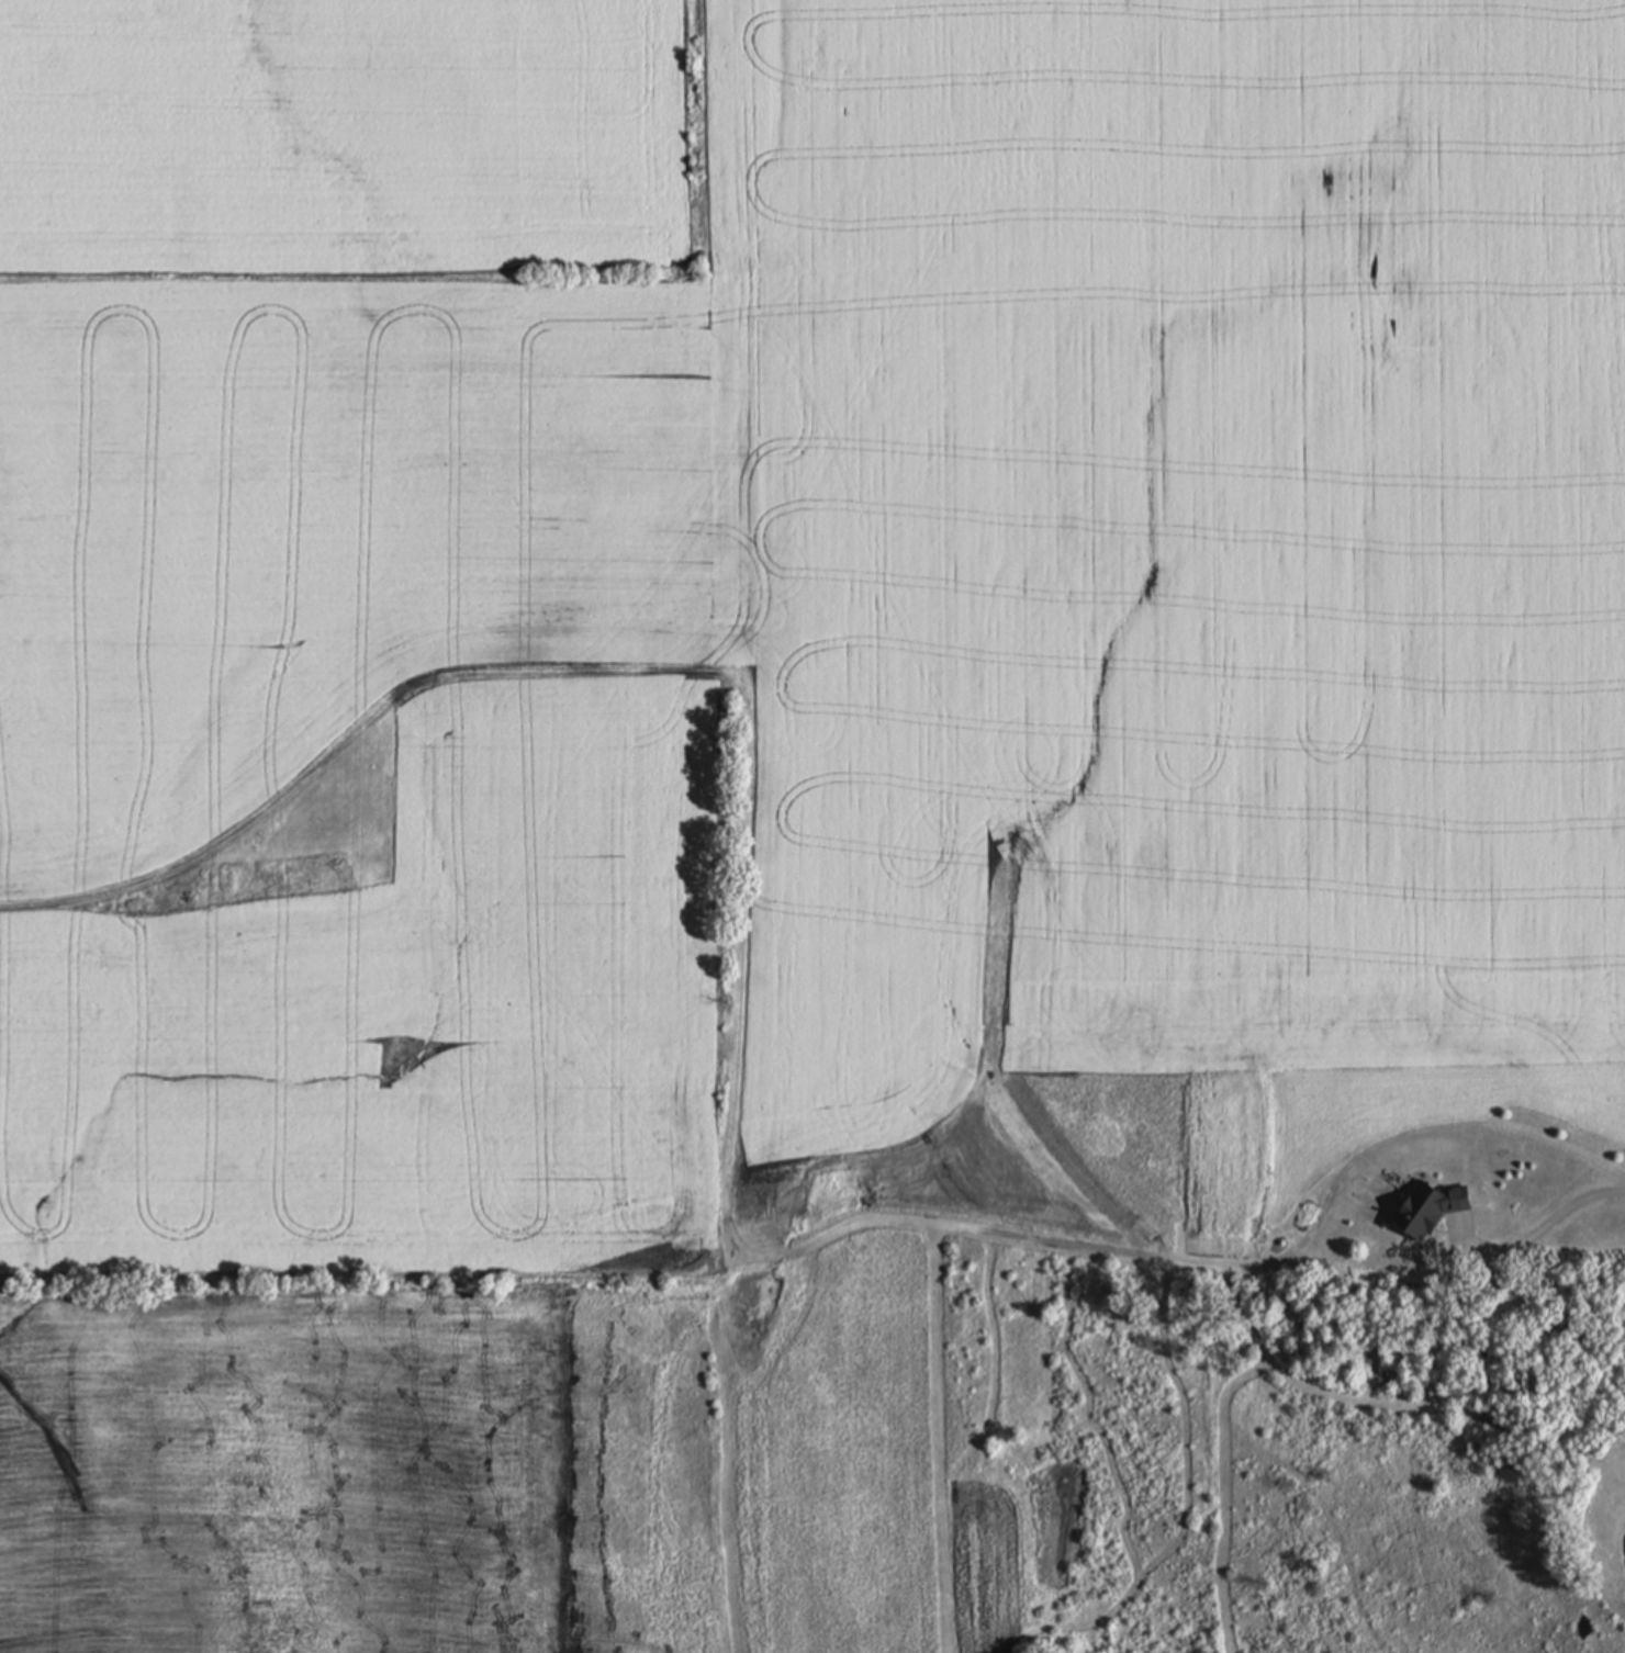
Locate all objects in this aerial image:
road: (166, 865)
building: (1431, 1207)
road: (1543, 1225)

